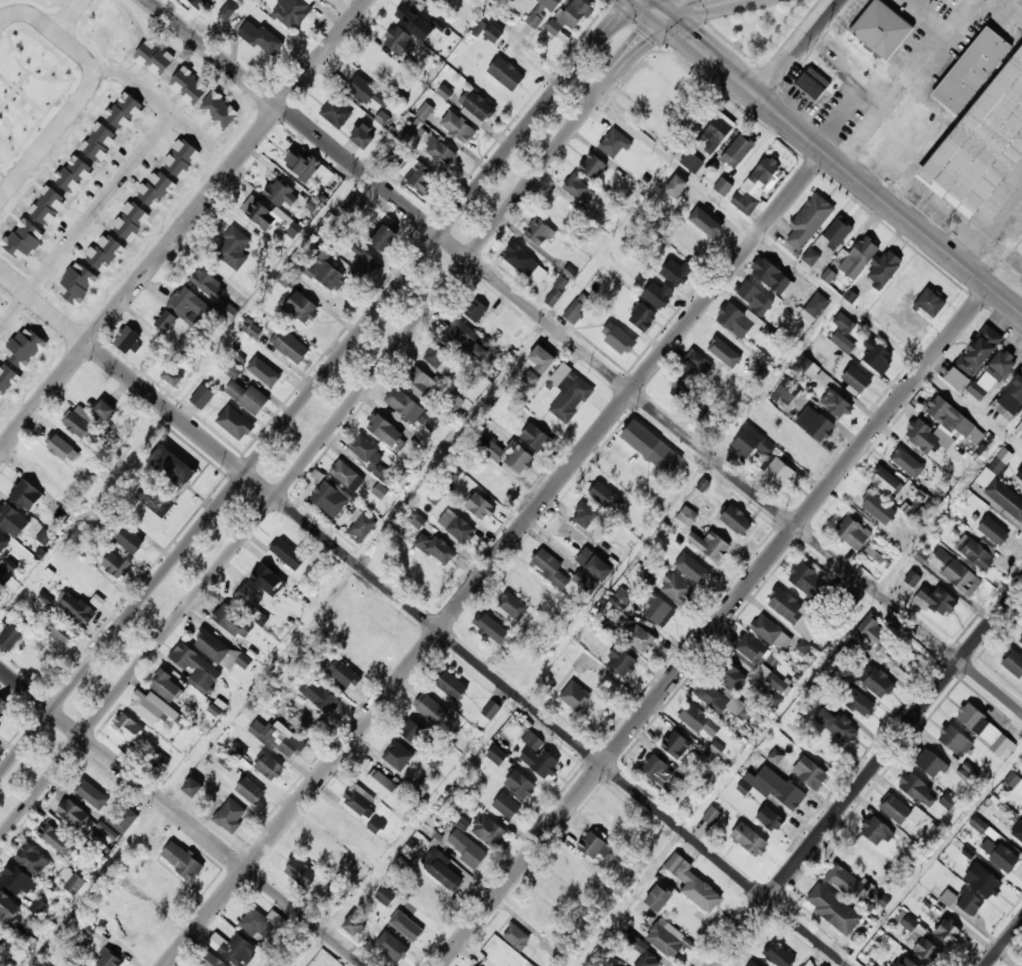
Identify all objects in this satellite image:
road: (652, 2)
building: (198, 3)
traffic signals: (687, 4)
road: (684, 8)
road: (718, 10)
building: (227, 11)
building: (542, 11)
building: (291, 12)
building: (569, 17)
building: (414, 21)
building: (878, 24)
building: (493, 33)
traffic signals: (634, 33)
traffic signals: (685, 35)
building: (261, 37)
road: (520, 37)
building: (399, 40)
traffic signals: (647, 42)
road: (799, 49)
road: (619, 51)
building: (154, 57)
road: (628, 57)
building: (506, 73)
building: (811, 84)
building: (188, 86)
building: (367, 92)
building: (445, 92)
building: (475, 107)
building: (218, 110)
building: (124, 111)
building: (424, 111)
building: (335, 112)
building: (382, 118)
building: (978, 125)
building: (458, 127)
building: (407, 133)
building: (714, 133)
building: (362, 136)
building: (98, 142)
building: (614, 143)
building: (736, 151)
building: (440, 152)
building: (181, 158)
road: (830, 158)
building: (692, 162)
building: (301, 165)
building: (408, 166)
building: (592, 166)
building: (764, 171)
building: (73, 174)
building: (323, 175)
building: (420, 177)
building: (673, 187)
building: (721, 187)
building: (577, 188)
building: (156, 189)
building: (280, 193)
building: (743, 202)
building: (47, 205)
building: (356, 205)
building: (270, 217)
building: (130, 220)
road: (181, 220)
building: (808, 222)
building: (710, 226)
building: (837, 231)
building: (539, 232)
building: (383, 237)
building: (24, 239)
building: (233, 248)
building: (863, 251)
building: (104, 252)
building: (811, 256)
building: (368, 262)
building: (525, 263)
building: (883, 268)
building: (325, 269)
building: (675, 272)
road: (807, 273)
building: (828, 275)
building: (284, 277)
building: (771, 277)
building: (77, 283)
building: (209, 284)
building: (657, 294)
building: (554, 297)
building: (753, 299)
building: (928, 303)
building: (815, 305)
building: (189, 306)
building: (301, 307)
building: (576, 308)
building: (475, 309)
building: (229, 311)
building: (727, 316)
building: (643, 317)
building: (165, 320)
building: (844, 322)
building: (617, 337)
building: (127, 339)
building: (467, 340)
building: (843, 341)
building: (290, 345)
building: (719, 346)
building: (24, 347)
building: (977, 352)
road: (586, 354)
building: (435, 355)
building: (873, 355)
building: (541, 358)
building: (695, 365)
building: (806, 367)
building: (233, 370)
building: (263, 371)
building: (991, 375)
building: (172, 376)
building: (7, 378)
building: (530, 378)
building: (854, 379)
building: (957, 379)
road: (317, 382)
building: (420, 383)
building: (569, 392)
building: (684, 392)
building: (786, 392)
building: (1012, 395)
building: (202, 396)
building: (248, 397)
building: (834, 405)
building: (103, 409)
building: (410, 409)
building: (1021, 415)
building: (949, 418)
building: (79, 421)
building: (235, 422)
building: (813, 424)
building: (385, 430)
building: (1018, 431)
building: (535, 437)
building: (921, 437)
building: (750, 442)
building: (651, 447)
building: (797, 447)
building: (63, 448)
building: (494, 450)
building: (518, 457)
building: (901, 457)
building: (370, 459)
building: (172, 465)
road: (296, 465)
building: (995, 466)
building: (776, 472)
building: (347, 475)
building: (1018, 477)
building: (885, 482)
building: (702, 484)
building: (380, 491)
building: (27, 494)
building: (606, 496)
building: (155, 499)
building: (329, 499)
building: (1004, 499)
building: (867, 502)
building: (480, 506)
building: (584, 515)
building: (687, 515)
building: (923, 515)
building: (12, 519)
building: (417, 520)
building: (734, 520)
building: (363, 526)
building: (457, 526)
building: (991, 531)
building: (851, 533)
building: (44, 536)
building: (127, 538)
building: (962, 541)
building: (3, 542)
building: (713, 547)
building: (441, 549)
building: (288, 553)
building: (621, 554)
building: (976, 555)
building: (877, 558)
road: (496, 560)
building: (116, 564)
building: (594, 564)
building: (550, 568)
building: (693, 569)
building: (952, 572)
building: (420, 574)
building: (803, 578)
building: (912, 578)
building: (268, 579)
building: (585, 582)
building: (675, 589)
building: (247, 600)
building: (935, 601)
building: (512, 605)
building: (784, 605)
building: (847, 605)
building: (74, 610)
building: (654, 610)
building: (233, 622)
road: (715, 627)
building: (492, 628)
building: (60, 630)
building: (771, 633)
building: (872, 636)
building: (10, 637)
building: (635, 637)
building: (1019, 640)
building: (214, 648)
building: (749, 648)
road: (465, 653)
building: (619, 662)
building: (1013, 663)
building: (196, 667)
building: (562, 667)
building: (345, 674)
building: (730, 677)
building: (876, 682)
building: (166, 686)
building: (452, 686)
building: (319, 694)
building: (574, 696)
building: (712, 699)
building: (774, 699)
building: (857, 702)
building: (4, 708)
building: (153, 708)
building: (430, 708)
building: (491, 709)
building: (697, 720)
building: (834, 725)
building: (128, 726)
building: (414, 732)
building: (984, 732)
building: (286, 741)
building: (953, 741)
building: (675, 745)
building: (716, 747)
building: (237, 751)
building: (497, 755)
building: (539, 755)
building: (775, 756)
building: (400, 757)
building: (159, 761)
building: (929, 764)
building: (270, 767)
building: (969, 772)
building: (807, 773)
building: (661, 775)
road: (868, 775)
building: (1014, 782)
building: (382, 783)
building: (521, 784)
building: (192, 786)
building: (422, 786)
building: (744, 787)
building: (776, 788)
building: (912, 788)
building: (94, 789)
building: (251, 791)
building: (947, 800)
building: (357, 801)
building: (507, 806)
building: (895, 811)
building: (74, 813)
building: (231, 816)
building: (711, 816)
road: (182, 817)
building: (768, 819)
building: (123, 820)
building: (463, 824)
building: (979, 824)
building: (375, 825)
building: (346, 827)
building: (488, 830)
building: (107, 831)
building: (875, 833)
building: (1017, 835)
building: (56, 839)
building: (747, 840)
building: (591, 846)
building: (467, 849)
building: (320, 851)
building: (997, 855)
building: (32, 859)
building: (182, 861)
building: (673, 864)
building: (442, 870)
building: (301, 872)
building: (15, 878)
building: (71, 881)
building: (980, 881)
building: (853, 886)
building: (698, 892)
building: (386, 895)
building: (655, 899)
building: (962, 902)
building: (8, 906)
building: (37, 906)
building: (832, 910)
building: (541, 913)
building: (260, 922)
building: (409, 923)
building: (909, 923)
building: (354, 925)
building: (947, 932)
building: (2, 935)
building: (517, 937)
building: (664, 938)
road: (1004, 943)
building: (389, 945)
building: (238, 949)
building: (926, 951)
building: (777, 955)
building: (109, 958)
building: (211, 960)
building: (646, 961)
building: (903, 962)
building: (751, 964)
building: (477, 965)
building: (479, 965)
building: (823, 965)
building: (884, 965)

